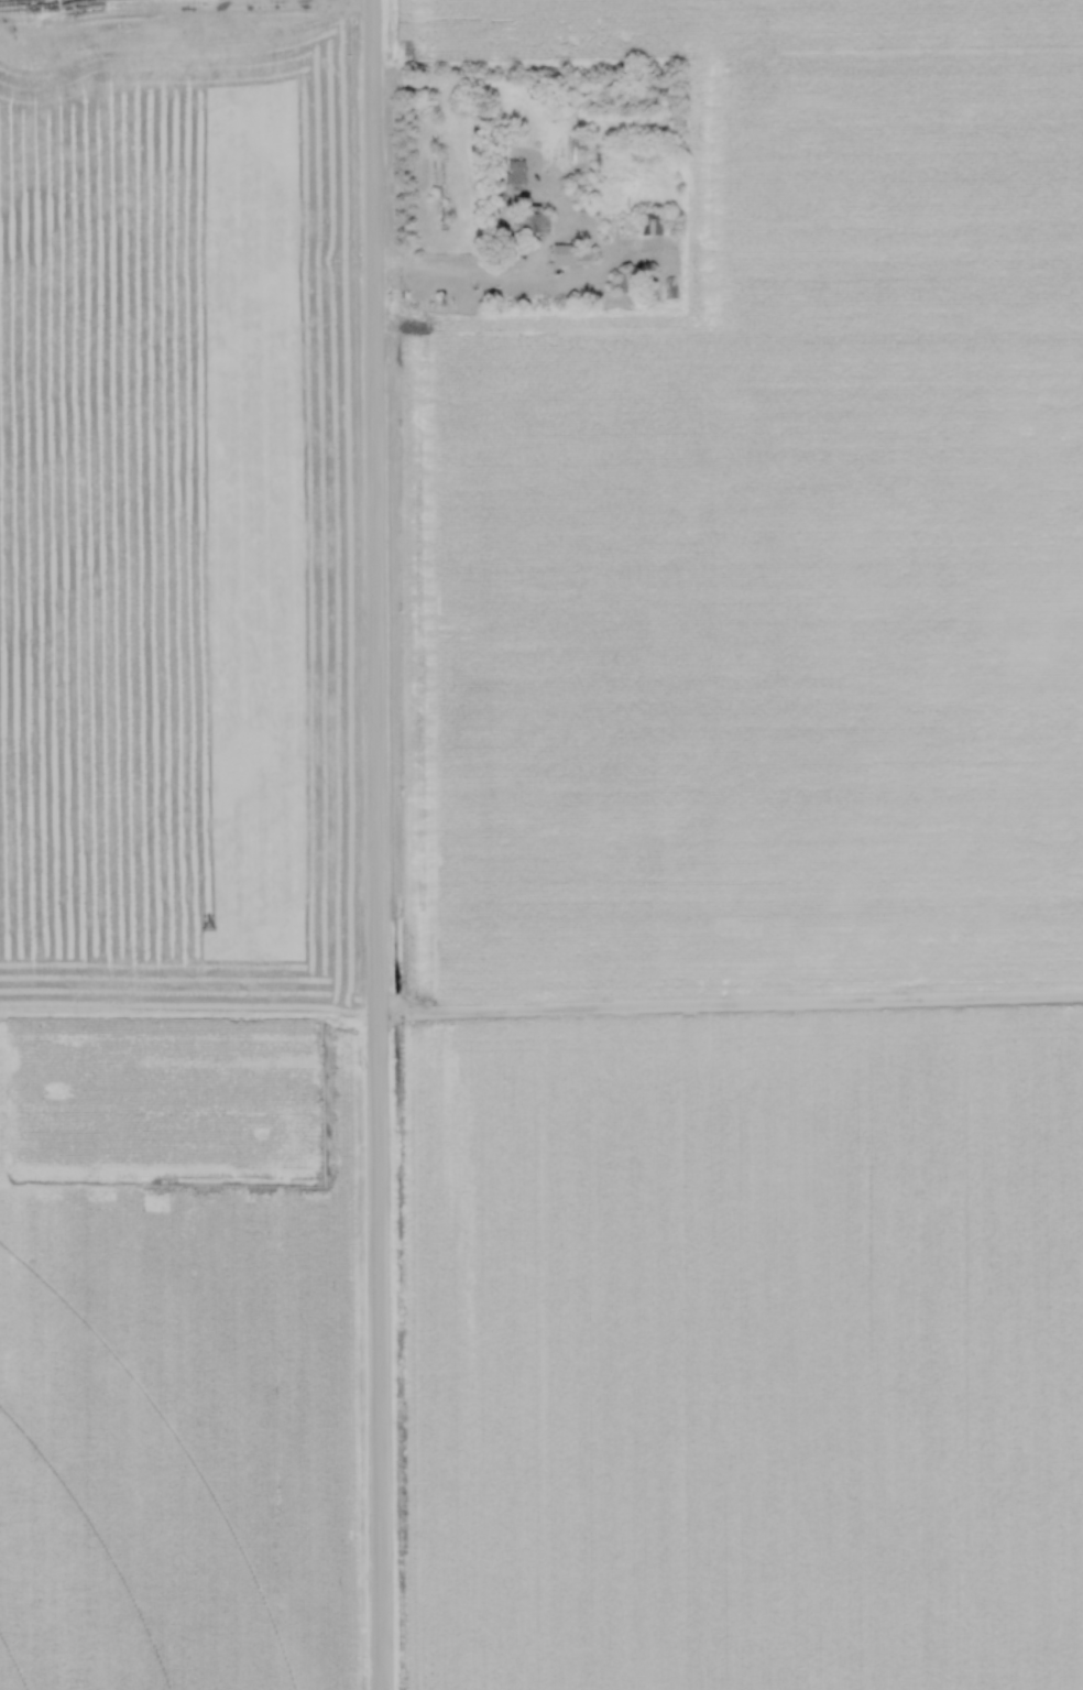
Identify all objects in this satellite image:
building: (516, 164)
building: (529, 219)
building: (648, 222)
building: (569, 253)
road: (448, 263)
building: (671, 288)
road: (376, 844)
crop: (175, 849)
crop: (756, 886)

